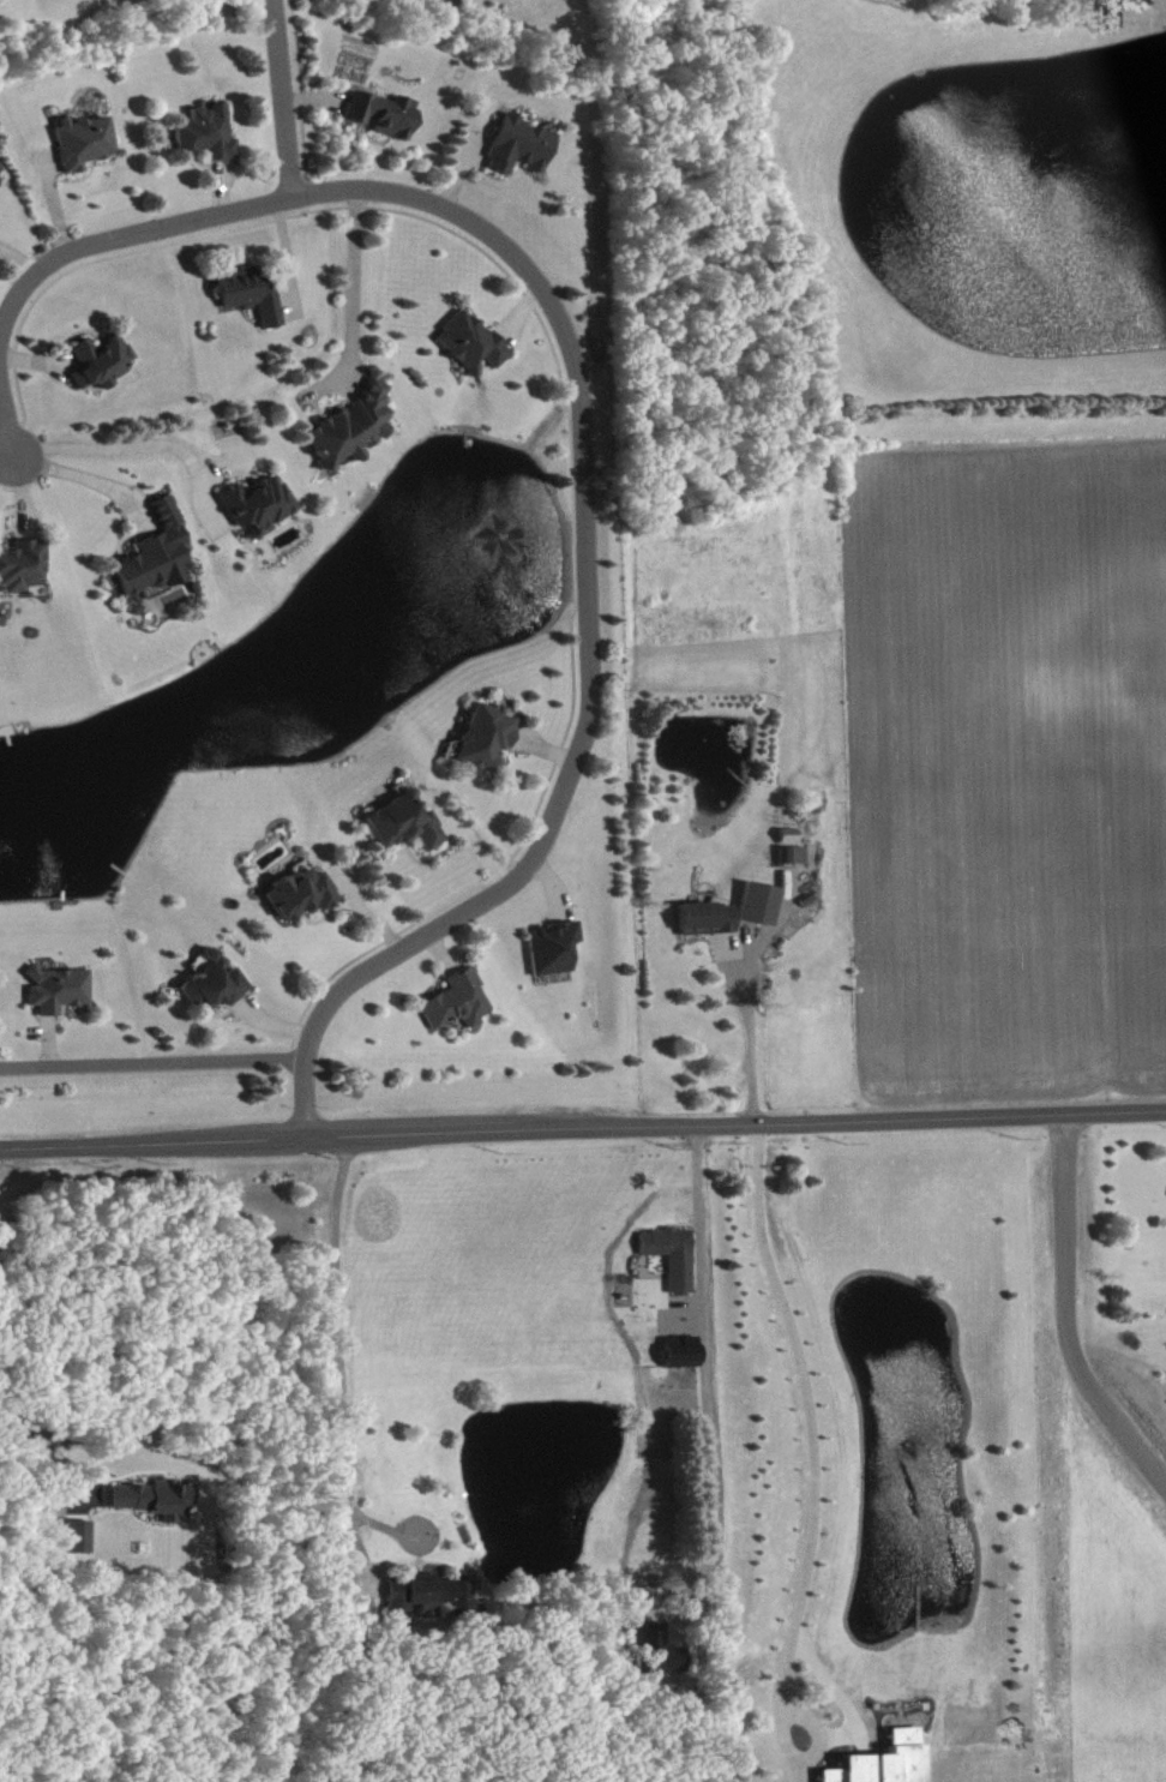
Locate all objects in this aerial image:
road: (280, 100)
building: (387, 112)
building: (211, 131)
building: (88, 139)
building: (524, 145)
building: (1, 167)
road: (70, 254)
building: (256, 292)
road: (359, 301)
building: (475, 341)
building: (104, 360)
building: (355, 425)
road: (140, 445)
road: (7, 455)
road: (74, 475)
building: (262, 503)
building: (160, 553)
building: (24, 564)
road: (588, 631)
building: (488, 736)
building: (408, 822)
building: (795, 854)
building: (305, 892)
building: (761, 902)
building: (709, 917)
building: (555, 946)
building: (217, 983)
building: (61, 988)
building: (459, 1000)
road: (752, 1033)
road: (154, 1062)
road: (583, 1130)
building: (675, 1254)
road: (1072, 1310)
building: (684, 1352)
road: (344, 1362)
road: (703, 1366)
road: (46, 1448)
building: (157, 1496)
road: (819, 1528)
building: (83, 1532)
building: (427, 1594)
building: (885, 1762)

